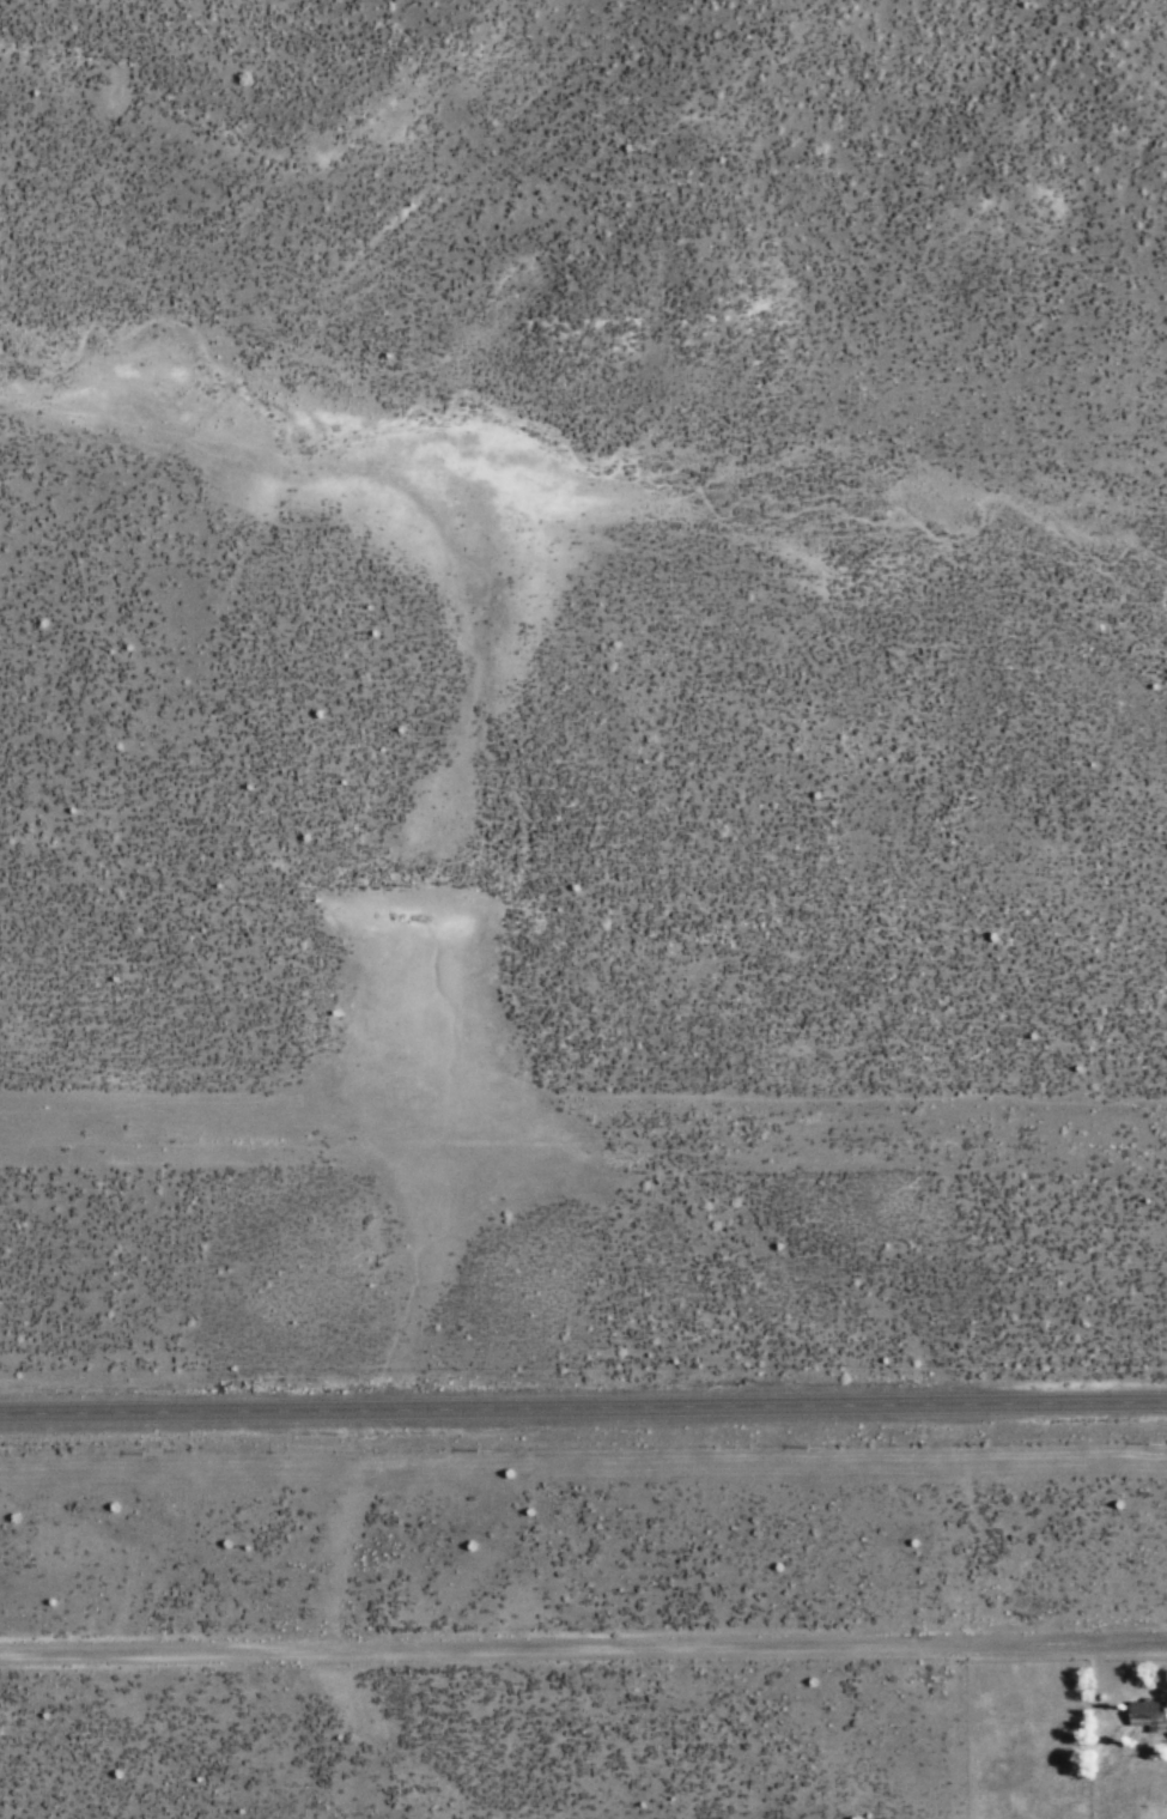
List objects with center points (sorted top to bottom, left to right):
road: (583, 1409)
road: (583, 1651)
building: (1149, 1715)

